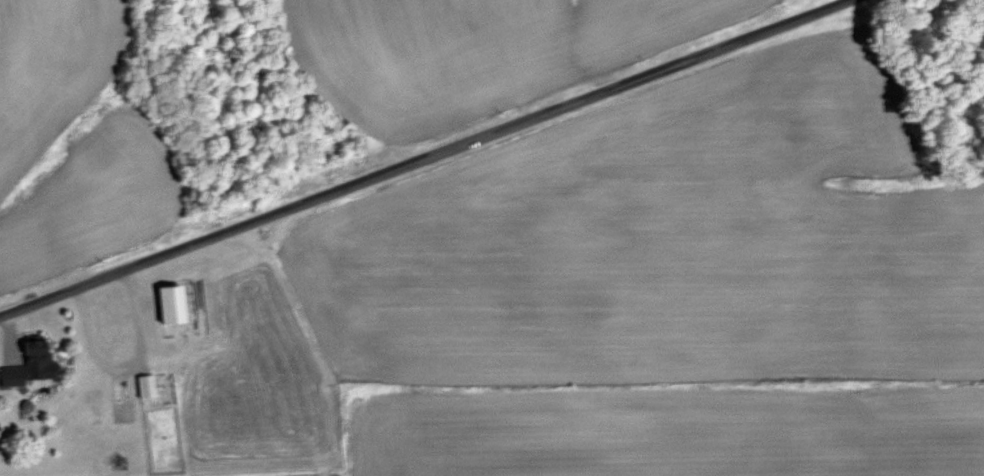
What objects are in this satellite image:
road: (411, 152)
building: (178, 304)
road: (123, 357)
building: (36, 363)
building: (150, 386)

